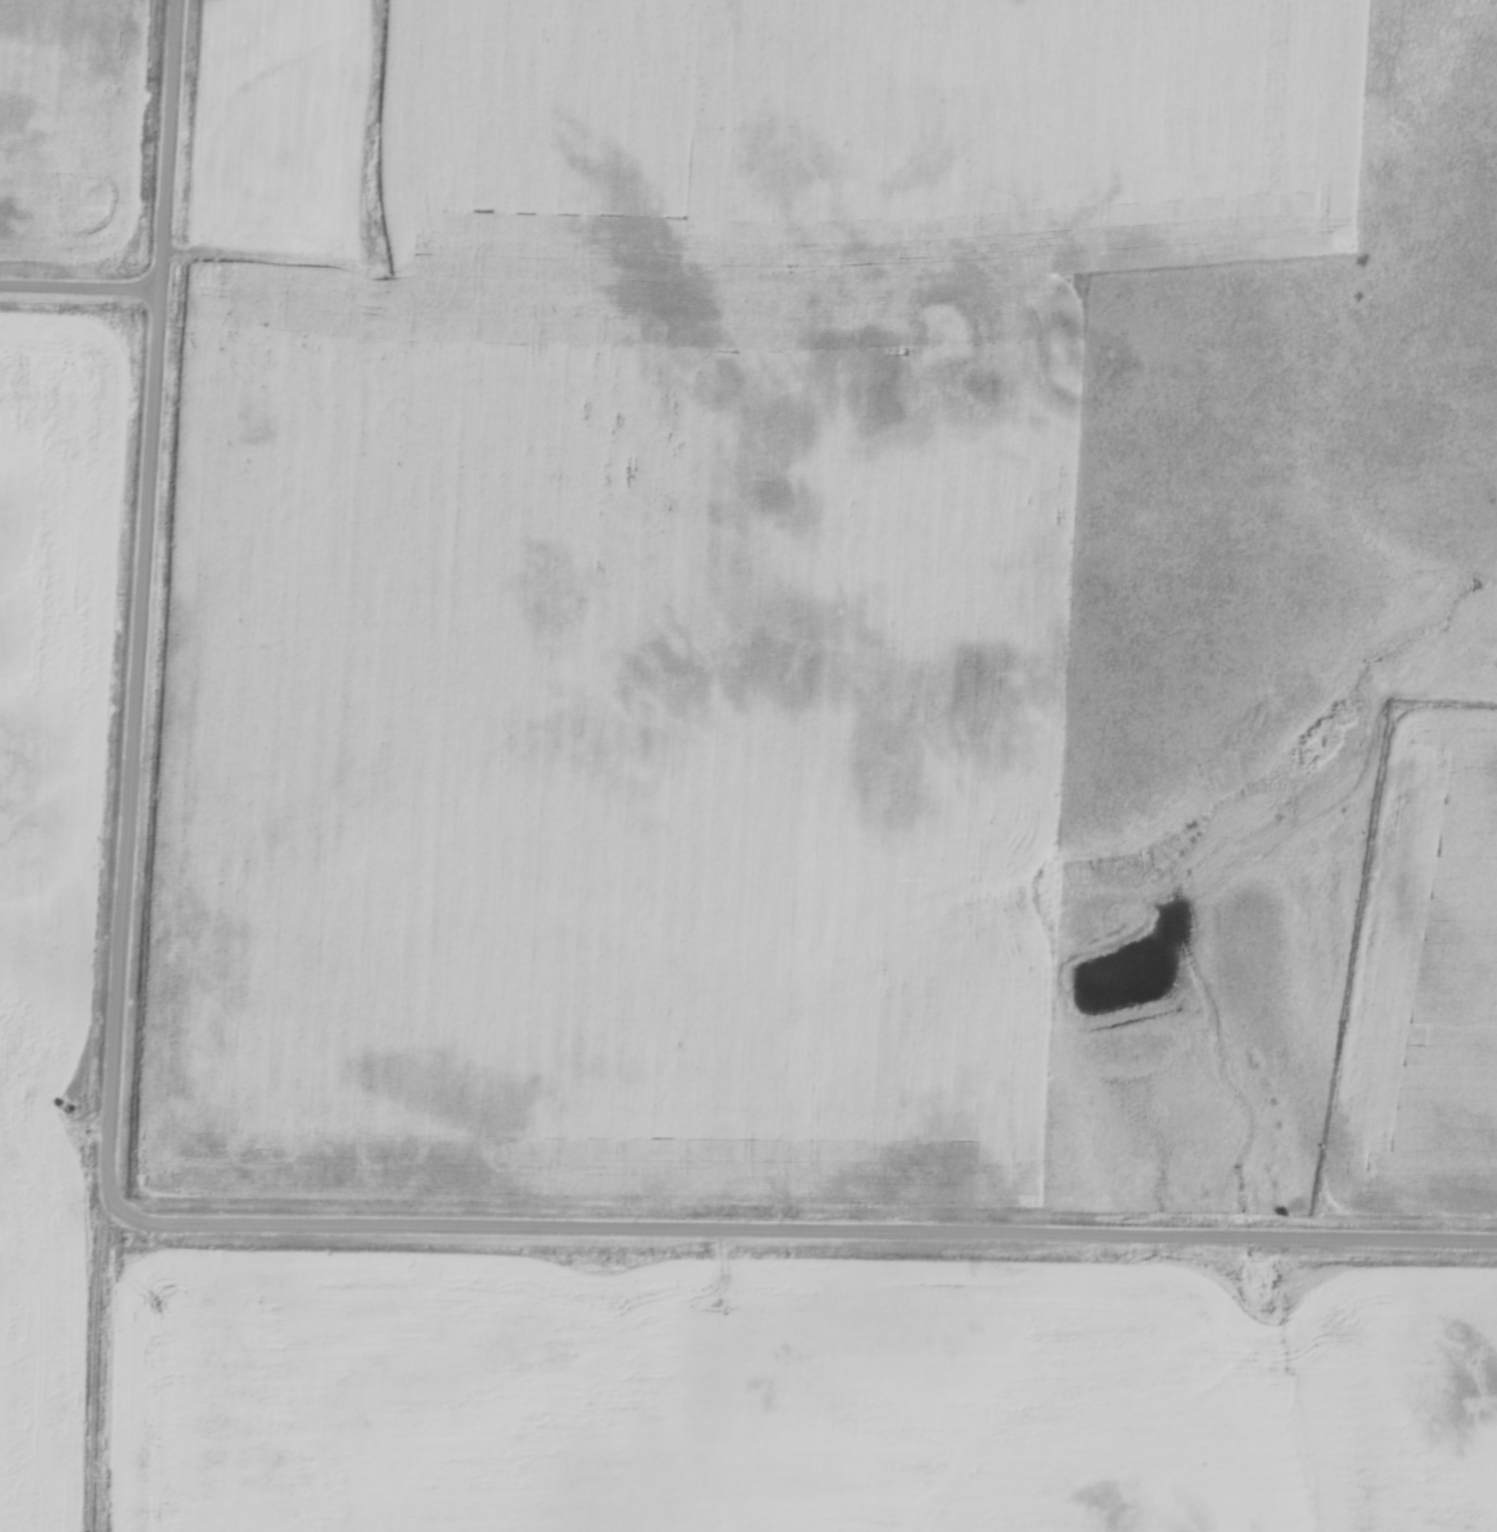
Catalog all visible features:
crop: (30, 84)
road: (80, 289)
crop: (857, 493)
road: (141, 616)
road: (816, 1234)

